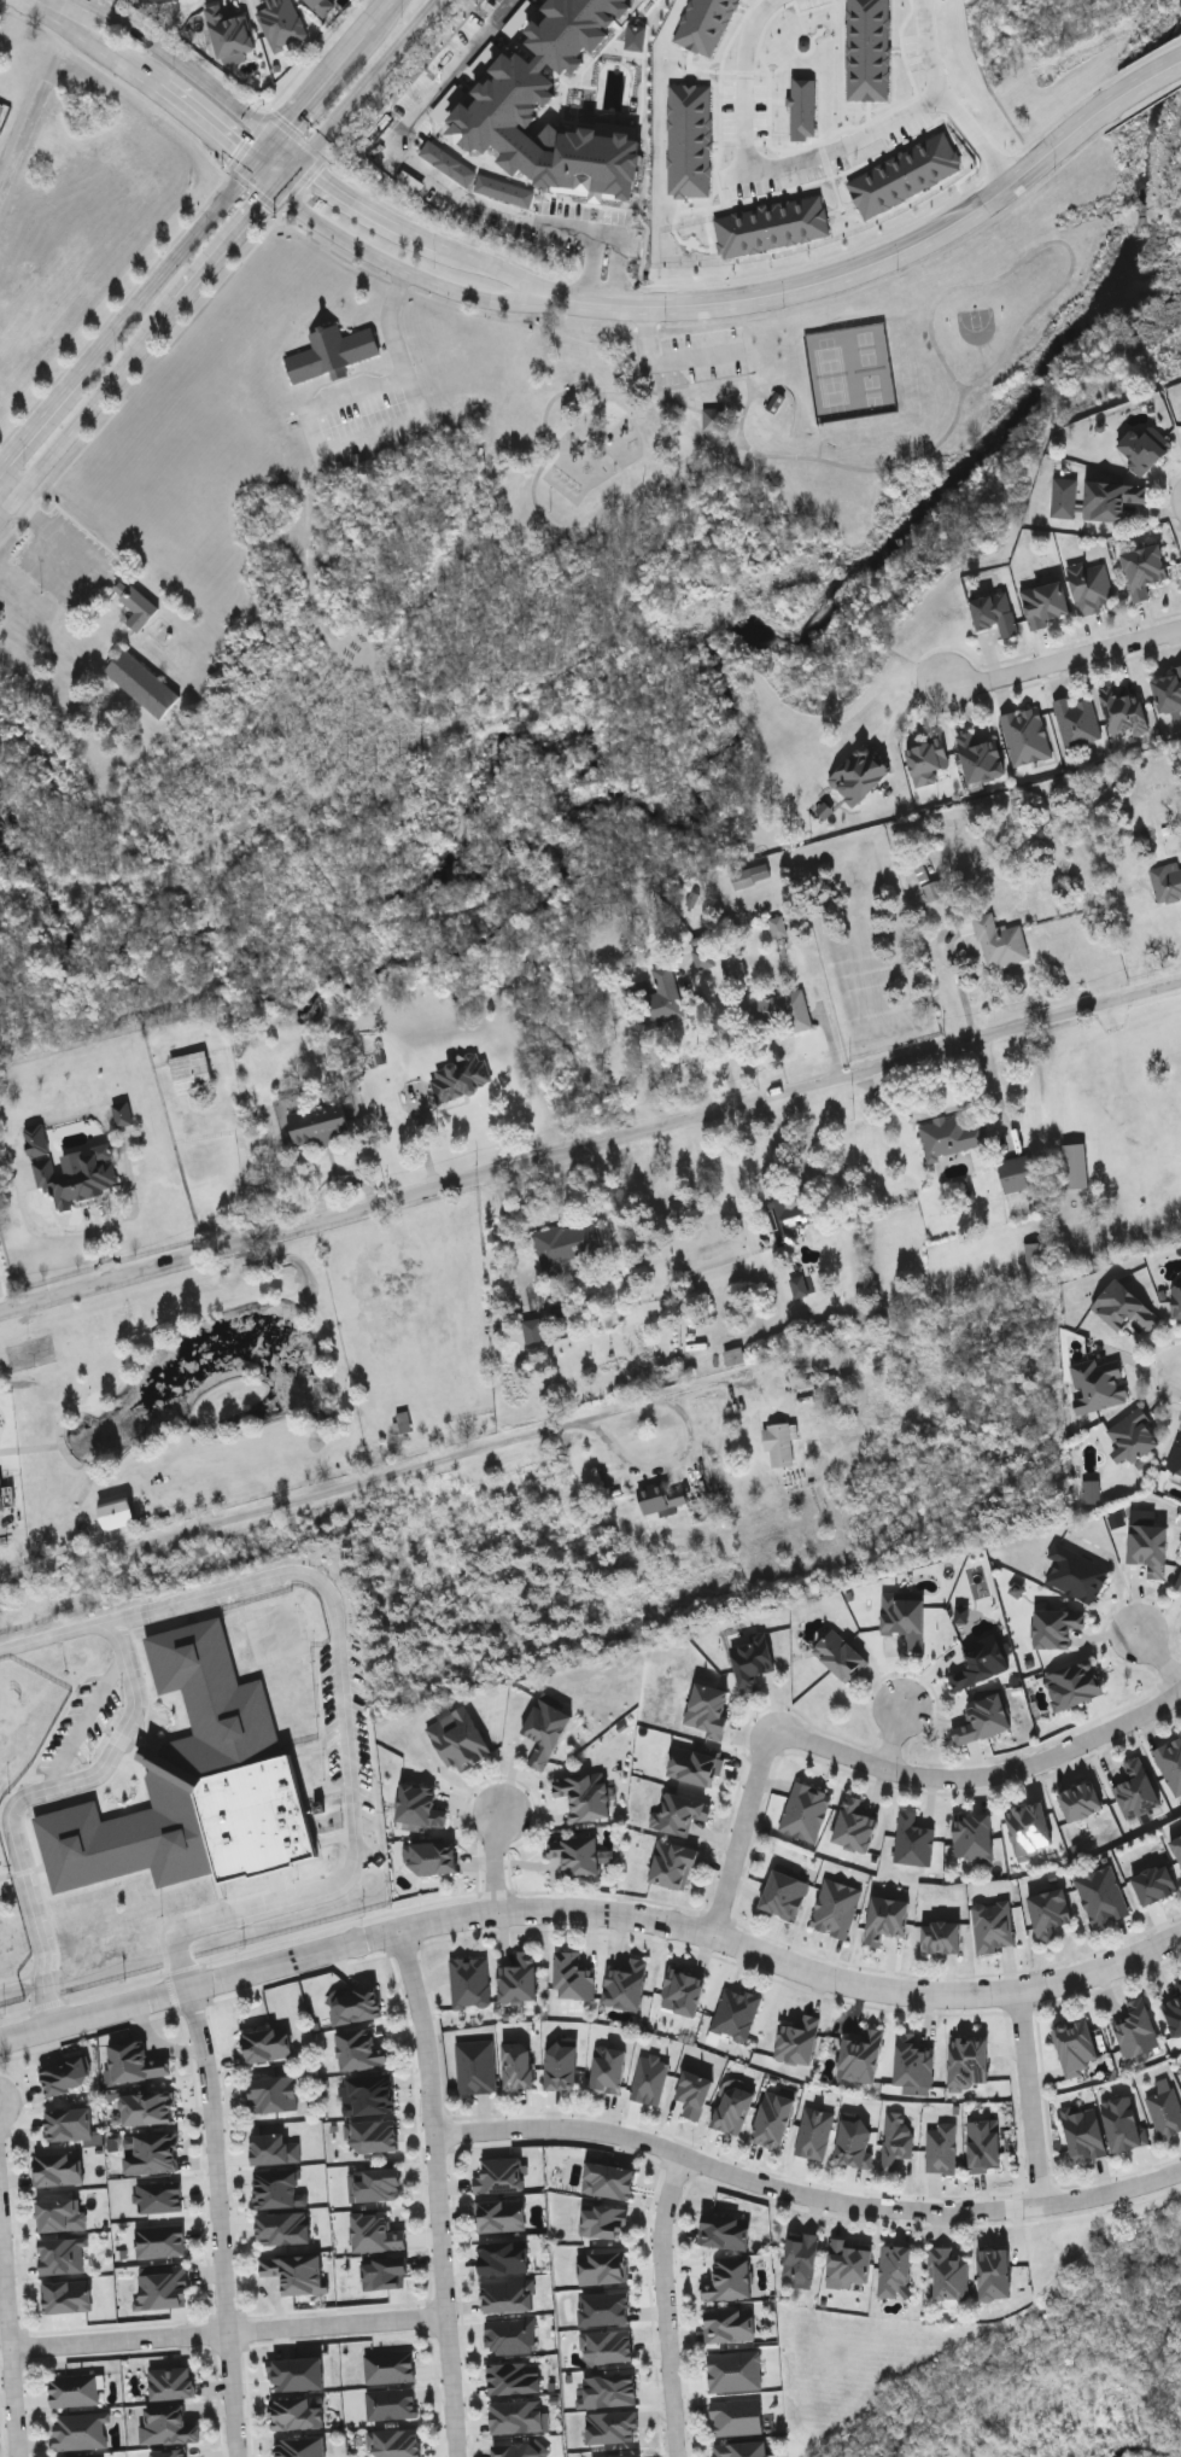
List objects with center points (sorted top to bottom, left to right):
building: (148, 0)
building: (322, 6)
road: (380, 18)
building: (281, 23)
building: (573, 29)
building: (230, 31)
road: (94, 40)
building: (869, 49)
road: (200, 74)
road: (368, 80)
road: (322, 87)
road: (1138, 91)
road: (941, 100)
building: (803, 107)
road: (211, 124)
building: (487, 124)
road: (841, 138)
traffic signals: (281, 139)
building: (690, 140)
road: (269, 153)
traffic signals: (303, 162)
road: (742, 163)
traffic signals: (258, 169)
road: (291, 175)
building: (906, 175)
road: (444, 182)
traffic signals: (279, 188)
road: (367, 210)
building: (772, 226)
road: (229, 243)
road: (906, 249)
road: (397, 264)
road: (170, 269)
road: (502, 270)
road: (621, 303)
park: (978, 326)
road: (648, 335)
building: (331, 352)
parking lot: (704, 355)
road: (701, 357)
park: (872, 368)
park: (830, 374)
road: (737, 377)
park: (801, 380)
road: (639, 389)
road: (568, 392)
road: (718, 395)
road: (765, 396)
road: (961, 397)
building: (780, 402)
road: (679, 403)
road: (90, 409)
road: (41, 416)
building: (718, 420)
road: (373, 432)
road: (820, 440)
building: (1142, 449)
road: (8, 486)
building: (1112, 497)
building: (1064, 498)
road: (306, 503)
road: (649, 565)
building: (1144, 568)
road: (97, 574)
building: (1091, 585)
road: (575, 591)
building: (1043, 601)
building: (134, 603)
road: (311, 605)
building: (994, 611)
road: (594, 646)
road: (1064, 659)
building: (141, 683)
building: (1168, 689)
building: (1123, 708)
building: (1076, 719)
road: (901, 720)
building: (1024, 734)
building: (981, 753)
building: (926, 760)
building: (858, 772)
building: (752, 875)
building: (1165, 880)
building: (931, 891)
building: (778, 927)
building: (1000, 941)
building: (702, 957)
building: (662, 996)
building: (783, 1011)
road: (721, 1044)
building: (191, 1072)
building: (458, 1076)
road: (949, 1111)
building: (123, 1114)
building: (314, 1120)
building: (949, 1136)
road: (590, 1148)
building: (1076, 1166)
building: (70, 1168)
road: (731, 1173)
building: (1017, 1173)
road: (134, 1198)
building: (789, 1216)
road: (66, 1231)
building: (566, 1247)
building: (802, 1285)
building: (1176, 1298)
building: (1123, 1306)
building: (533, 1330)
building: (1097, 1382)
road: (651, 1403)
building: (401, 1422)
building: (1132, 1435)
building: (780, 1443)
building: (1175, 1455)
building: (1092, 1492)
building: (1, 1495)
road: (290, 1502)
building: (116, 1511)
building: (1148, 1547)
building: (1075, 1572)
building: (1179, 1582)
building: (963, 1613)
building: (904, 1616)
building: (1056, 1626)
building: (838, 1653)
road: (1163, 1656)
building: (752, 1659)
building: (982, 1661)
road: (343, 1677)
building: (1072, 1683)
building: (708, 1708)
building: (983, 1717)
road: (87, 1723)
building: (545, 1731)
building: (458, 1738)
road: (899, 1739)
building: (1170, 1762)
building: (692, 1763)
road: (983, 1779)
building: (193, 1782)
building: (1135, 1788)
building: (584, 1794)
road: (28, 1797)
building: (1080, 1799)
building: (419, 1804)
building: (805, 1810)
building: (678, 1813)
building: (853, 1825)
building: (1029, 1827)
building: (972, 1837)
building: (912, 1839)
road: (741, 1840)
building: (1177, 1845)
building: (575, 1854)
building: (431, 1856)
road: (498, 1858)
building: (673, 1864)
building: (1156, 1884)
building: (784, 1893)
building: (1103, 1895)
building: (835, 1907)
building: (1048, 1910)
building: (885, 1919)
building: (993, 1925)
building: (941, 1936)
road: (776, 1960)
building: (573, 1974)
building: (519, 1977)
building: (468, 1980)
building: (625, 1984)
building: (1179, 1985)
building: (683, 1989)
road: (183, 1991)
building: (355, 2004)
building: (735, 2012)
building: (1174, 2014)
building: (1138, 2029)
building: (797, 2039)
building: (265, 2043)
building: (1075, 2045)
building: (359, 2048)
building: (861, 2055)
building: (913, 2060)
building: (134, 2061)
building: (967, 2062)
building: (475, 2065)
building: (518, 2065)
building: (561, 2065)
building: (608, 2067)
building: (65, 2074)
building: (649, 2077)
building: (271, 2093)
building: (368, 2093)
building: (692, 2093)
road: (1036, 2103)
building: (146, 2107)
building: (1164, 2107)
building: (733, 2108)
building: (772, 2118)
building: (1122, 2120)
building: (69, 2123)
building: (813, 2131)
building: (1083, 2132)
building: (373, 2135)
building: (894, 2138)
building: (853, 2140)
building: (983, 2143)
building: (274, 2147)
building: (942, 2149)
building: (150, 2152)
building: (57, 2167)
building: (499, 2175)
building: (608, 2179)
building: (378, 2183)
building: (277, 2188)
road: (439, 2190)
building: (158, 2195)
road: (806, 2196)
building: (60, 2213)
building: (501, 2214)
building: (603, 2219)
road: (221, 2222)
building: (282, 2227)
building: (724, 2230)
building: (375, 2231)
building: (159, 2239)
building: (60, 2254)
building: (801, 2254)
building: (503, 2255)
building: (849, 2260)
building: (602, 2266)
building: (894, 2270)
building: (294, 2271)
building: (384, 2272)
building: (948, 2272)
building: (995, 2274)
building: (729, 2280)
building: (162, 2286)
building: (65, 2295)
building: (509, 2295)
road: (668, 2306)
building: (604, 2309)
road: (11, 2323)
building: (727, 2324)
road: (230, 2334)
building: (510, 2334)
building: (606, 2346)
building: (388, 2364)
building: (735, 2370)
building: (296, 2373)
building: (514, 2377)
building: (170, 2381)
building: (72, 2388)
building: (609, 2388)
building: (392, 2404)
building: (297, 2411)
building: (736, 2415)
building: (520, 2416)
building: (169, 2427)
building: (612, 2428)
building: (80, 2429)
building: (394, 2441)
building: (299, 2446)
building: (741, 2449)
building: (522, 2450)
building: (620, 2456)

